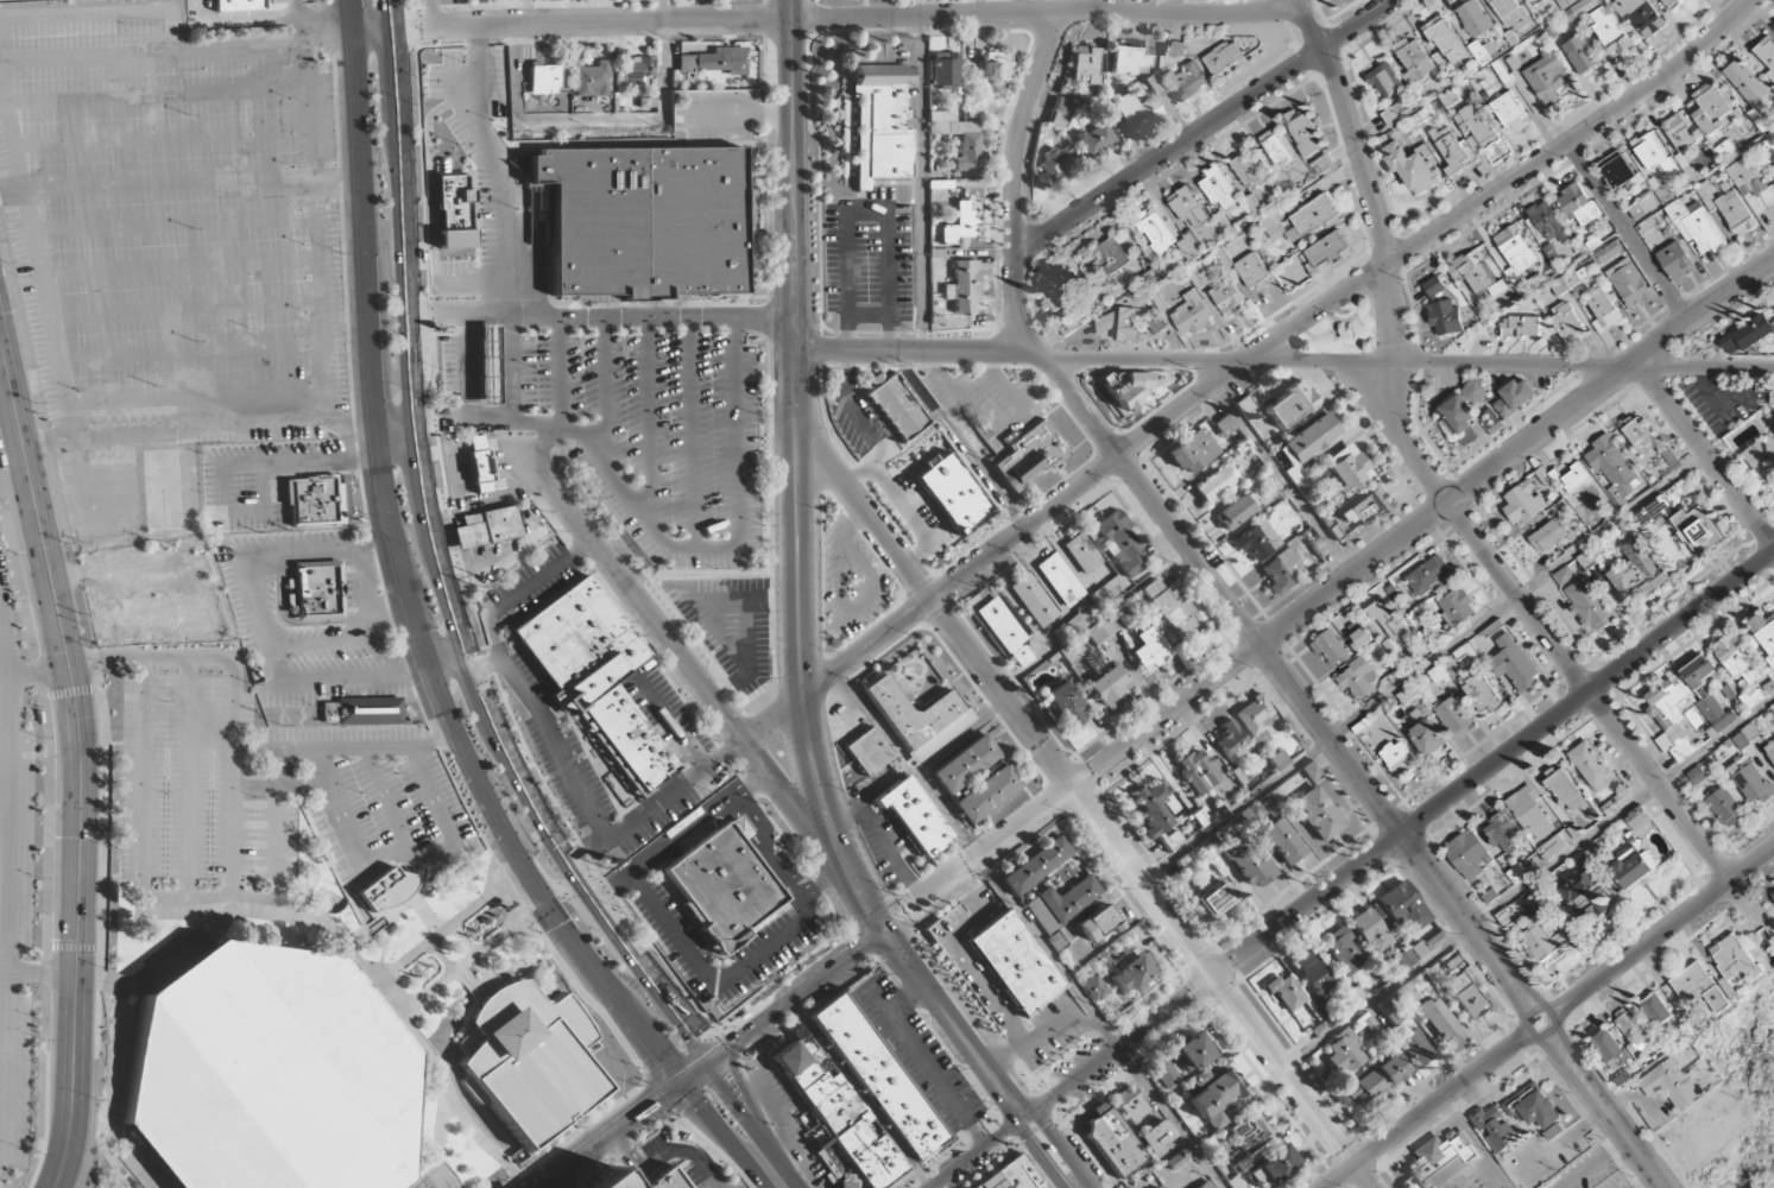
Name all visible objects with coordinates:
building: (1672, 2)
building: (238, 6)
building: (1584, 8)
road: (793, 11)
road: (1046, 12)
road: (430, 14)
building: (1511, 14)
road: (391, 15)
building: (1643, 18)
building: (1473, 19)
road: (592, 24)
road: (372, 32)
building: (1610, 32)
building: (1447, 43)
building: (1766, 51)
building: (1582, 55)
building: (1223, 58)
building: (1131, 61)
building: (1414, 62)
building: (711, 63)
building: (1085, 65)
building: (995, 67)
building: (943, 69)
building: (635, 70)
building: (880, 76)
building: (1546, 77)
building: (544, 80)
building: (1384, 80)
building: (592, 81)
building: (1187, 83)
building: (1155, 84)
building: (1748, 90)
building: (1712, 109)
building: (1131, 110)
building: (1059, 113)
building: (1509, 113)
road: (736, 116)
road: (600, 125)
building: (1476, 125)
road: (1206, 127)
building: (1679, 132)
building: (1303, 133)
building: (879, 134)
building: (960, 140)
building: (1093, 140)
building: (1275, 146)
building: (1450, 148)
building: (1652, 153)
building: (1055, 160)
building: (1409, 165)
road: (497, 169)
building: (1248, 170)
building: (1618, 171)
road: (428, 173)
building: (1772, 175)
road: (920, 176)
building: (1747, 177)
road: (1361, 178)
road: (794, 187)
road: (1014, 187)
building: (1219, 189)
building: (1578, 204)
building: (1188, 207)
building: (1643, 207)
road: (866, 210)
building: (454, 213)
road: (402, 216)
building: (1312, 217)
building: (644, 222)
building: (1547, 222)
building: (960, 223)
building: (1696, 226)
building: (1157, 232)
road: (1629, 233)
building: (1188, 248)
building: (1328, 249)
building: (1606, 253)
building: (1104, 260)
building: (1677, 261)
building: (1254, 272)
building: (1475, 274)
building: (1153, 277)
building: (1205, 278)
building: (1570, 279)
road: (472, 282)
building: (1629, 284)
building: (1434, 286)
building: (962, 287)
building: (1062, 289)
building: (1226, 295)
building: (1603, 311)
building: (1192, 314)
road: (867, 316)
building: (1445, 317)
road: (601, 318)
building: (1566, 321)
building: (1156, 323)
building: (1119, 324)
building: (1520, 328)
building: (1747, 336)
road: (1284, 361)
road: (1244, 365)
building: (490, 367)
gas station: (490, 367)
road: (469, 369)
road: (507, 369)
road: (558, 372)
road: (1609, 381)
road: (604, 385)
road: (368, 387)
building: (1476, 391)
building: (1515, 398)
road: (797, 402)
building: (1289, 405)
building: (895, 407)
building: (1458, 415)
road: (648, 418)
road: (392, 426)
road: (484, 426)
building: (1225, 429)
road: (688, 432)
building: (1640, 436)
road: (1404, 438)
road: (959, 442)
road: (542, 443)
building: (1305, 448)
building: (1193, 451)
road: (1705, 453)
building: (1029, 455)
building: (480, 466)
building: (1612, 467)
building: (1346, 469)
building: (1576, 478)
road: (1282, 481)
building: (1213, 485)
building: (953, 492)
road: (485, 498)
building: (314, 501)
building: (1523, 504)
building: (1364, 507)
building: (1237, 511)
building: (486, 529)
building: (1697, 530)
building: (1548, 536)
building: (1257, 541)
building: (1120, 544)
road: (730, 548)
building: (1082, 554)
building: (1281, 570)
building: (1637, 571)
building: (1427, 575)
building: (1564, 576)
building: (1060, 581)
building: (317, 592)
road: (1519, 598)
building: (1033, 601)
building: (709, 605)
building: (1589, 605)
building: (1457, 607)
building: (1170, 608)
building: (1388, 621)
road: (1681, 623)
road: (0, 626)
road: (777, 626)
building: (1086, 630)
road: (816, 632)
building: (1005, 632)
building: (1764, 634)
building: (1362, 638)
road: (4, 646)
building: (1330, 649)
building: (1149, 650)
building: (1737, 658)
road: (484, 661)
road: (681, 661)
road: (1273, 663)
building: (1514, 663)
road: (1423, 666)
road: (448, 668)
road: (4, 674)
building: (594, 674)
building: (1357, 680)
building: (1109, 685)
building: (1479, 690)
building: (1707, 691)
road: (8, 694)
road: (801, 700)
building: (1066, 706)
road: (1010, 707)
building: (368, 712)
building: (1692, 712)
building: (1454, 716)
building: (918, 718)
road: (1164, 718)
building: (1669, 718)
building: (1255, 719)
road: (5, 720)
road: (670, 721)
building: (1428, 738)
road: (433, 740)
building: (1231, 741)
road: (555, 747)
building: (1770, 751)
building: (866, 752)
road: (506, 754)
building: (1399, 759)
building: (1277, 760)
road: (78, 765)
building: (965, 765)
building: (1591, 766)
building: (1197, 772)
road: (184, 778)
building: (1753, 783)
road: (279, 784)
building: (1565, 790)
building: (987, 794)
road: (385, 801)
road: (1674, 807)
building: (1154, 808)
building: (1725, 808)
building: (1318, 814)
road: (442, 815)
building: (1529, 815)
building: (915, 816)
building: (1637, 819)
building: (1502, 833)
road: (1401, 834)
road: (1749, 835)
road: (678, 836)
building: (1282, 841)
road: (585, 852)
road: (227, 855)
building: (1467, 855)
road: (272, 861)
road: (10, 864)
building: (1248, 864)
building: (1035, 866)
building: (1633, 866)
road: (549, 873)
road: (822, 883)
road: (1528, 883)
building: (722, 885)
building: (387, 890)
road: (561, 893)
building: (1773, 895)
road: (514, 896)
building: (1585, 896)
building: (1214, 899)
building: (1060, 904)
building: (1402, 909)
road: (222, 910)
road: (870, 911)
road: (390, 916)
road: (1681, 916)
road: (901, 920)
building: (1097, 924)
road: (564, 928)
road: (332, 929)
road: (1029, 929)
building: (1369, 931)
road: (440, 933)
road: (463, 940)
building: (1054, 941)
building: (1543, 942)
building: (1341, 950)
road: (760, 952)
road: (441, 956)
road: (171, 960)
building: (1735, 960)
building: (1014, 963)
road: (462, 965)
railway: (823, 966)
road: (40, 969)
road: (4, 971)
building: (1130, 972)
building: (1311, 973)
road: (1522, 986)
building: (1699, 986)
building: (1092, 988)
building: (1284, 993)
road: (796, 994)
building: (1406, 994)
road: (1566, 994)
building: (1465, 996)
road: (1510, 996)
road: (586, 998)
railway: (763, 999)
road: (902, 999)
road: (930, 1000)
road: (1570, 1005)
road: (1533, 1006)
building: (1655, 1010)
building: (1388, 1012)
building: (1325, 1015)
building: (1439, 1022)
building: (1370, 1028)
building: (1633, 1031)
road: (410, 1032)
road: (1508, 1039)
road: (1122, 1045)
building: (1608, 1045)
building: (1414, 1047)
road: (1514, 1048)
building: (1193, 1051)
building: (1343, 1055)
road: (1576, 1057)
traffic signals: (711, 1060)
building: (529, 1061)
road: (1003, 1063)
road: (6, 1064)
road: (926, 1066)
road: (1561, 1067)
road: (695, 1070)
building: (269, 1073)
stadium: (269, 1073)
building: (1163, 1075)
building: (878, 1078)
building: (1376, 1080)
road: (91, 1081)
road: (1293, 1081)
traffic signals: (681, 1082)
building: (1669, 1085)
road: (1005, 1091)
building: (1216, 1093)
road: (857, 1094)
park: (1745, 1095)
road: (999, 1097)
building: (1129, 1106)
road: (743, 1107)
building: (1535, 1112)
building: (839, 1118)
road: (1024, 1119)
building: (1216, 1120)
road: (1408, 1123)
road: (466, 1126)
road: (716, 1126)
road: (617, 1127)
building: (1249, 1129)
building: (1494, 1129)
road: (438, 1132)
road: (573, 1135)
building: (1154, 1136)
road: (476, 1138)
road: (1627, 1139)
building: (1113, 1143)
road: (487, 1148)
parking lot: (656, 1149)
road: (1058, 1149)
road: (677, 1150)
road: (976, 1155)
road: (1041, 1156)
building: (1175, 1159)
road: (614, 1161)
building: (1442, 1161)
building: (1271, 1164)
road: (149, 1165)
road: (506, 1167)
railway: (1068, 1170)
parking lot: (705, 1175)
road: (770, 1175)
building: (1010, 1175)
road: (429, 1180)
building: (667, 1180)
road: (547, 1181)
road: (560, 1181)
building: (605, 1181)
parking lot: (605, 1181)
road: (631, 1183)
building: (1202, 1184)

